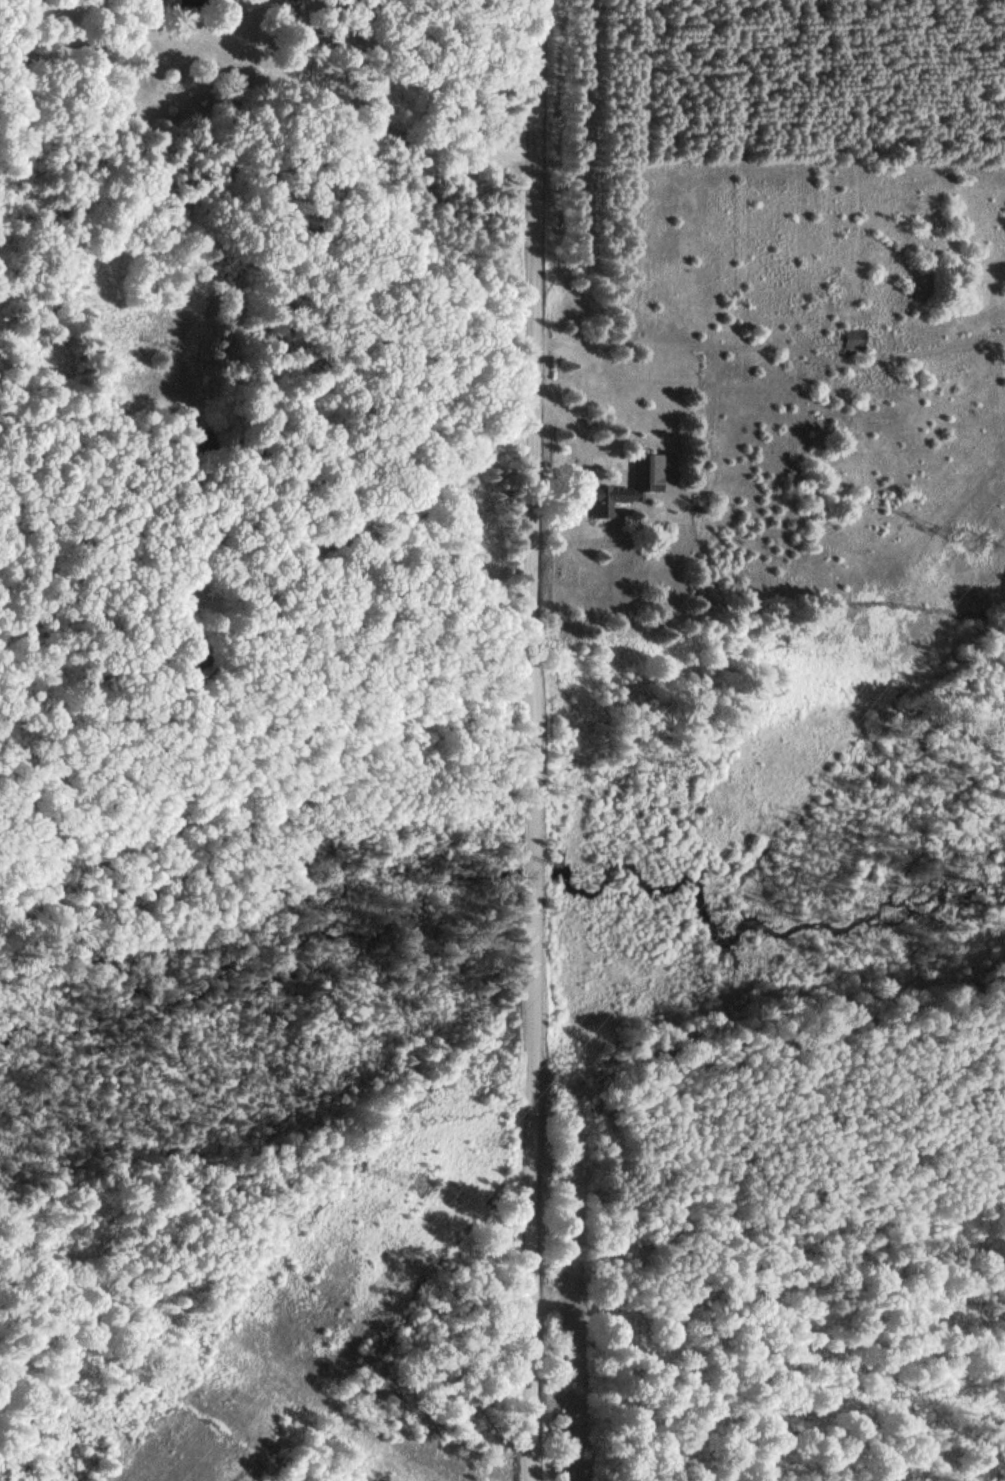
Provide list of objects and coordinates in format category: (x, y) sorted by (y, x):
building: (195, 2)
building: (852, 338)
building: (201, 440)
building: (626, 485)
power tower: (969, 540)
road: (531, 740)
river: (528, 881)
river: (751, 917)
river: (291, 1044)
power tower: (417, 1186)

